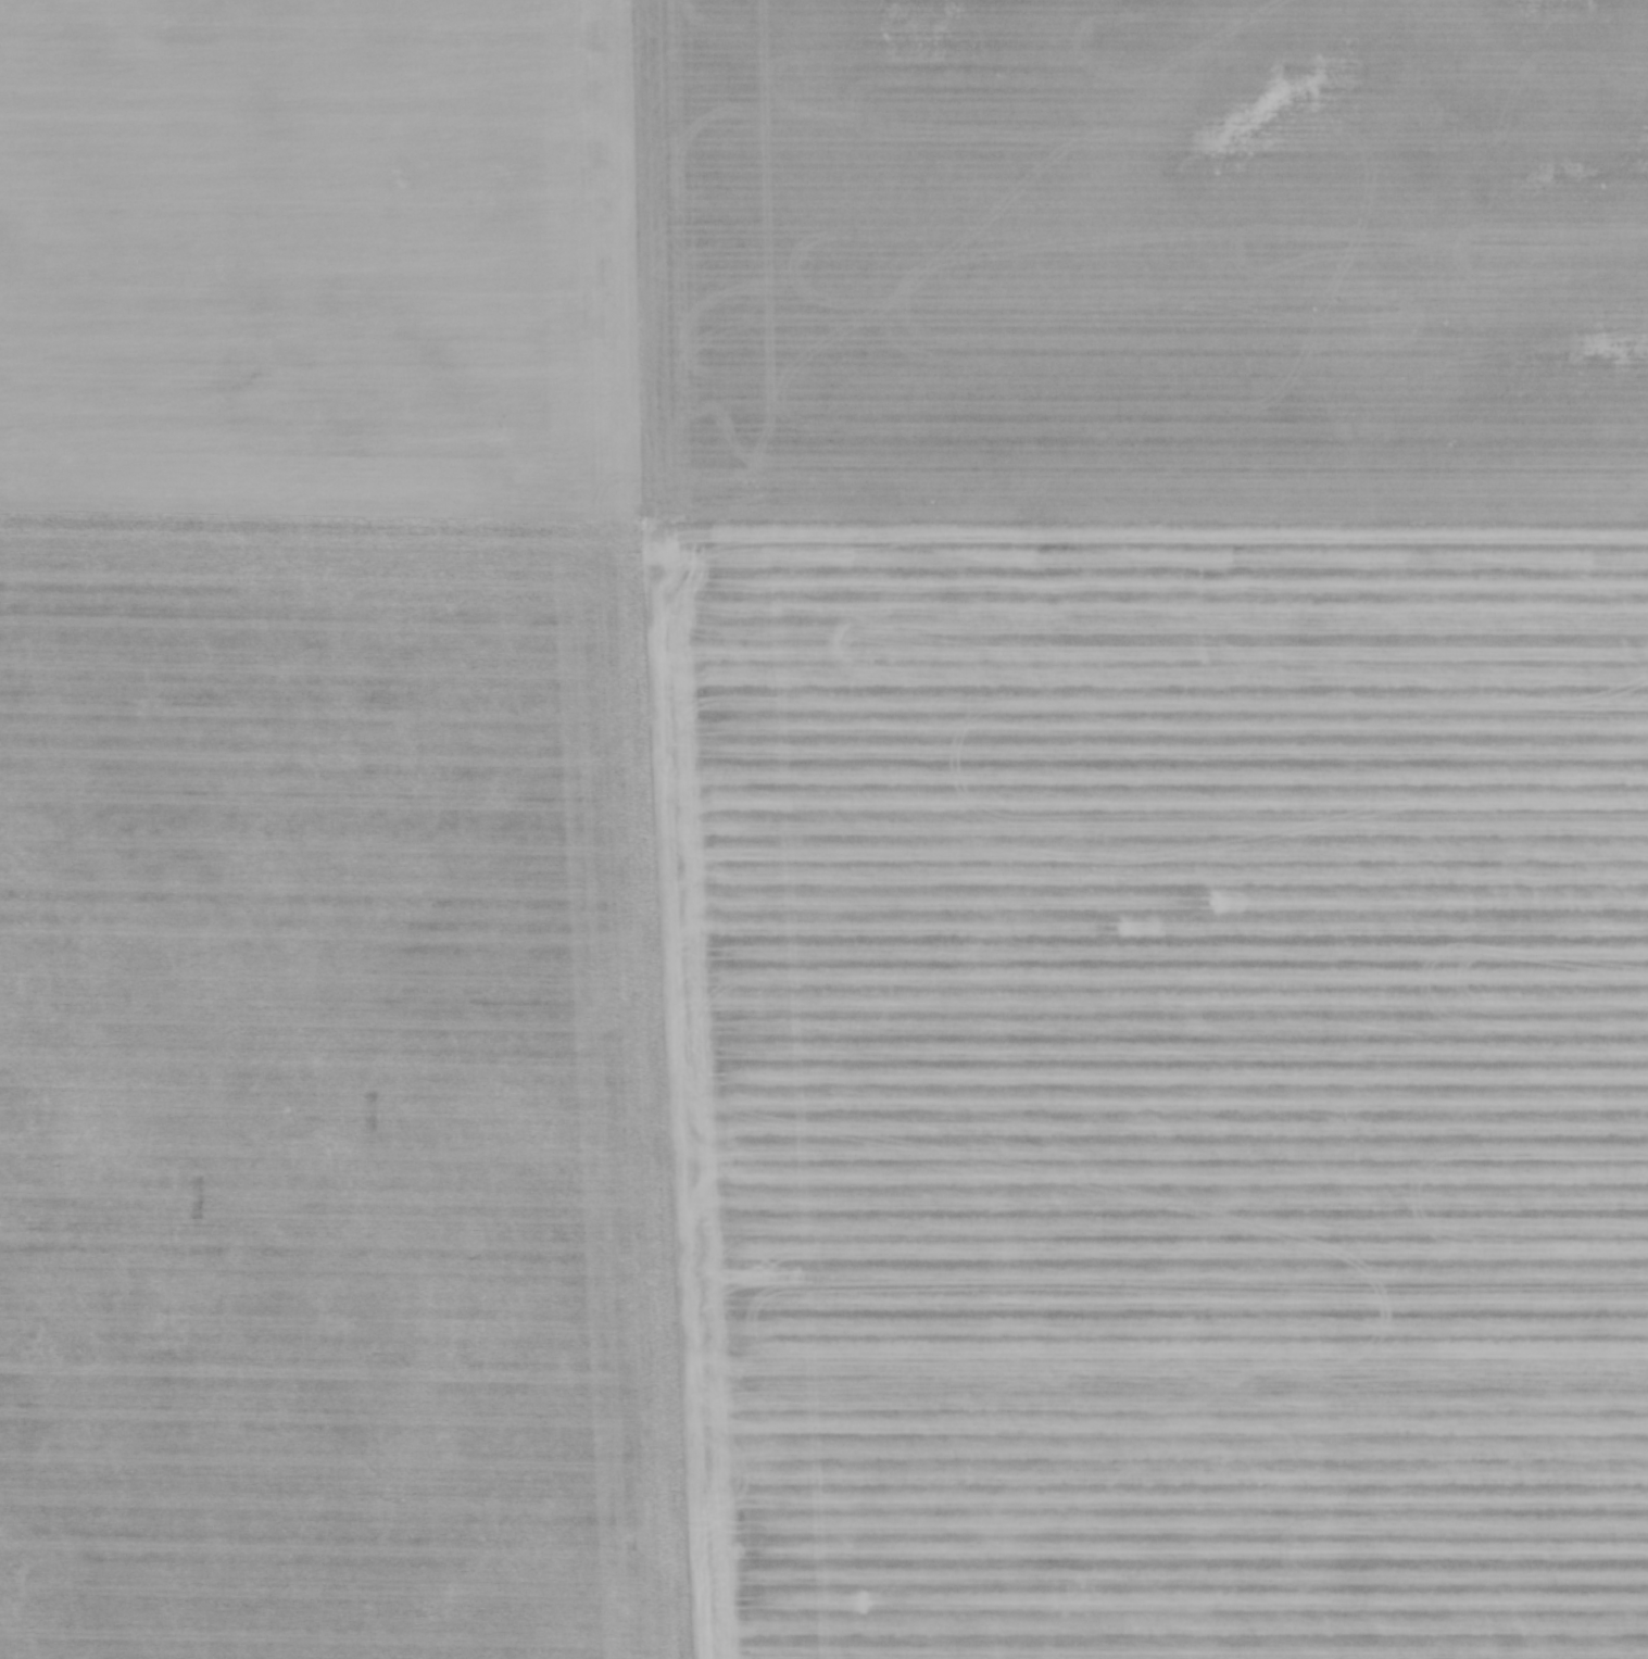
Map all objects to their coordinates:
crop: (823, 829)

